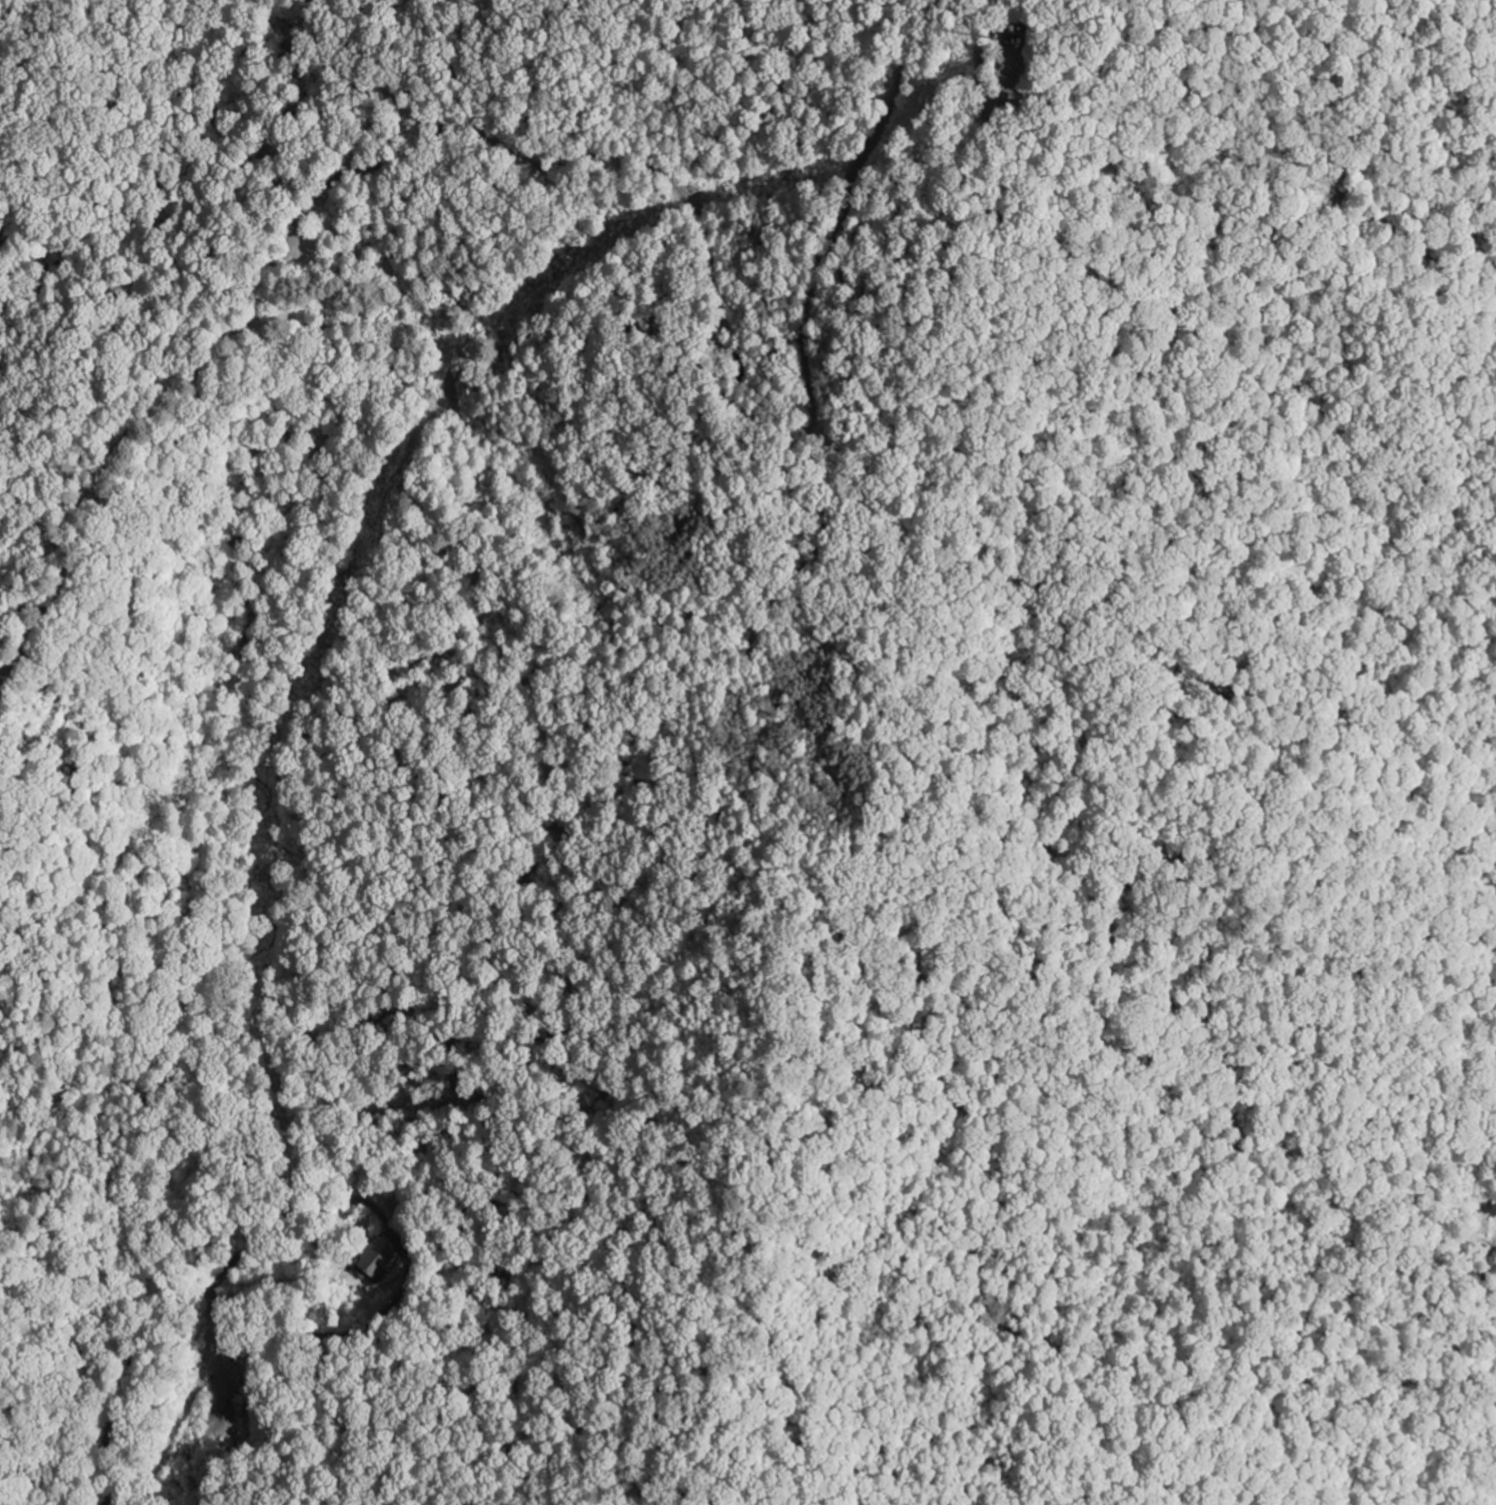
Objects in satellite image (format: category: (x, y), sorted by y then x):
building: (373, 1259)

